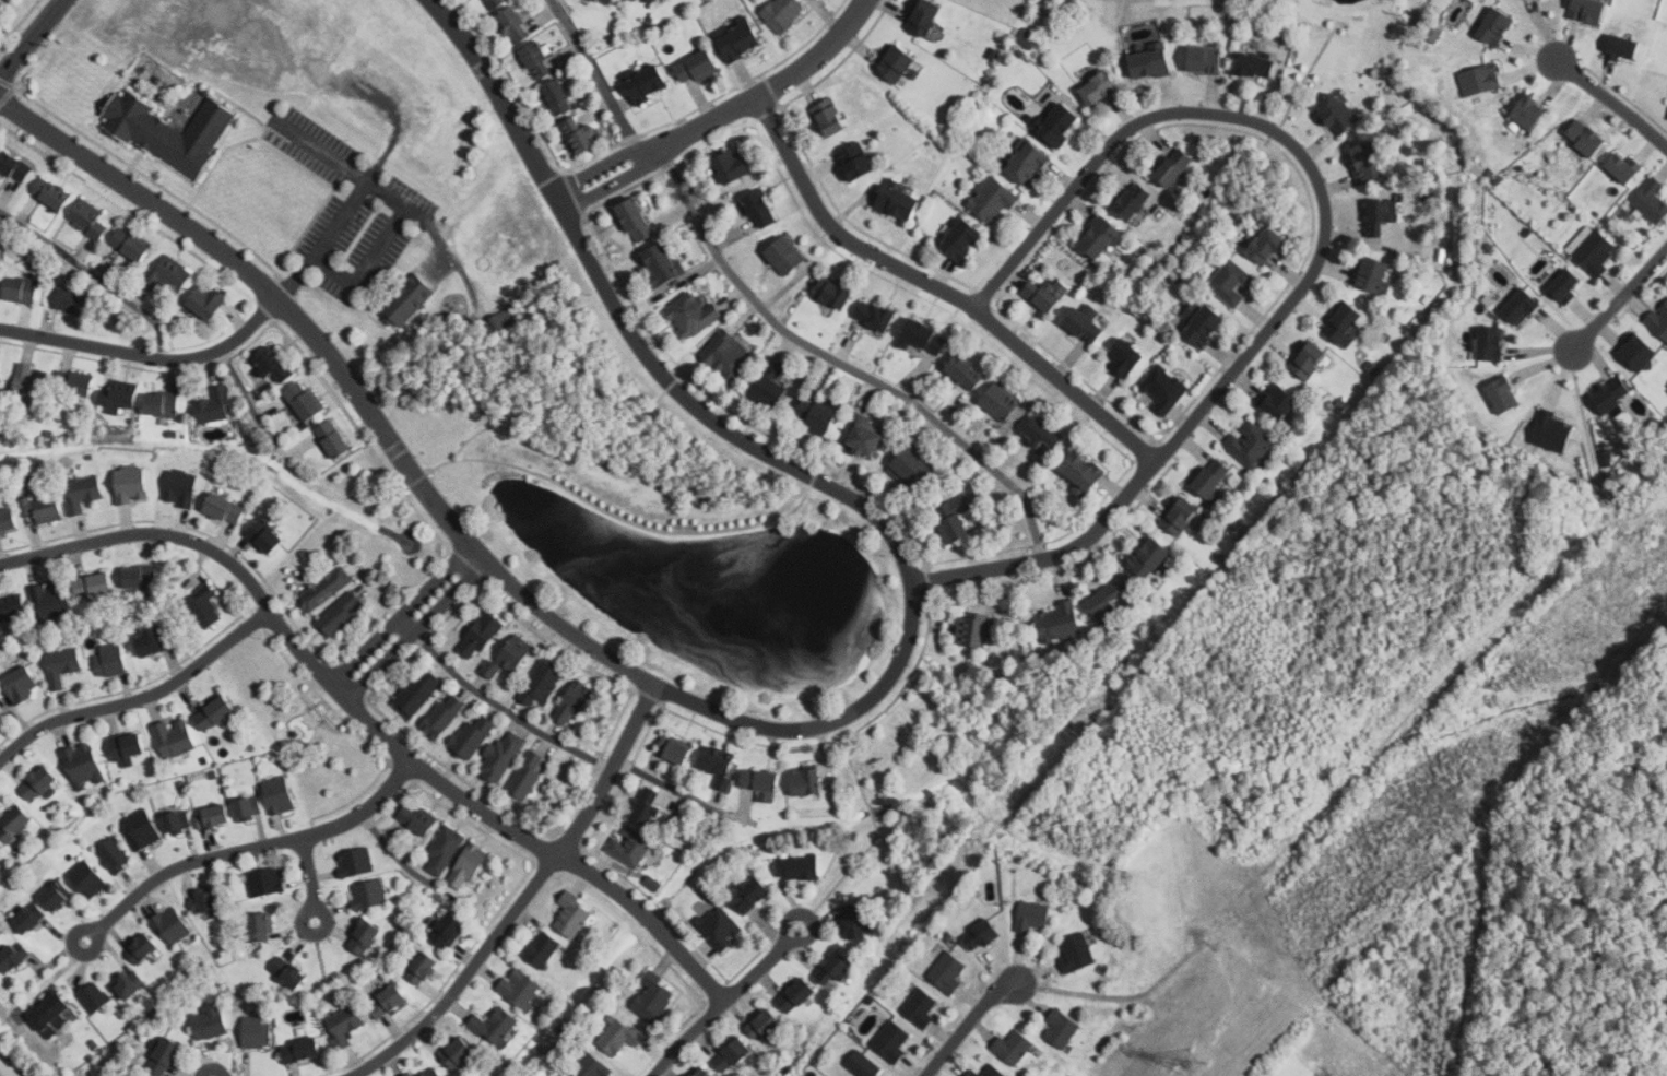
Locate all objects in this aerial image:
building: (636, 0)
building: (653, 1)
building: (605, 2)
building: (488, 3)
building: (497, 3)
building: (1589, 10)
building: (785, 12)
building: (926, 15)
building: (1497, 24)
building: (516, 25)
building: (1430, 33)
building: (740, 37)
building: (1025, 38)
road: (29, 39)
building: (1622, 46)
building: (1019, 52)
building: (990, 54)
building: (530, 59)
building: (1199, 60)
building: (541, 61)
building: (1143, 63)
building: (699, 66)
building: (890, 66)
building: (1246, 67)
road: (598, 75)
building: (1480, 78)
building: (648, 83)
building: (1101, 86)
building: (557, 97)
road: (1610, 103)
building: (1338, 111)
building: (1526, 111)
road: (721, 114)
building: (1666, 115)
building: (830, 116)
building: (1062, 122)
building: (174, 132)
building: (583, 133)
building: (1582, 137)
road: (321, 150)
building: (858, 159)
building: (1368, 161)
building: (1029, 162)
building: (734, 165)
building: (1175, 165)
building: (14, 166)
building: (1618, 166)
building: (51, 193)
building: (993, 200)
building: (1652, 200)
building: (1131, 201)
building: (888, 203)
building: (762, 208)
building: (1382, 214)
building: (87, 218)
building: (638, 218)
road: (416, 221)
road: (328, 234)
building: (1093, 238)
building: (957, 243)
building: (131, 244)
building: (1268, 245)
building: (1595, 251)
building: (785, 255)
building: (663, 263)
road: (1317, 265)
road: (365, 268)
building: (168, 273)
building: (1374, 273)
road: (94, 274)
building: (1231, 282)
building: (1560, 286)
road: (942, 288)
building: (22, 289)
building: (833, 292)
building: (1048, 293)
road: (1620, 295)
building: (405, 297)
building: (208, 299)
building: (73, 300)
building: (1517, 308)
building: (694, 314)
building: (876, 315)
building: (1659, 319)
building: (495, 322)
building: (1346, 323)
building: (1206, 324)
building: (1076, 327)
building: (922, 335)
building: (1491, 342)
road: (149, 354)
building: (728, 354)
building: (1635, 354)
building: (1125, 356)
building: (1309, 359)
road: (841, 363)
building: (275, 364)
building: (967, 370)
building: (1, 376)
building: (29, 382)
building: (74, 383)
building: (771, 383)
building: (1164, 388)
building: (1504, 394)
building: (120, 395)
building: (1612, 395)
building: (306, 399)
building: (1002, 401)
building: (1280, 402)
building: (163, 403)
building: (214, 405)
building: (817, 414)
road: (558, 416)
building: (1550, 430)
building: (1042, 431)
building: (50, 433)
building: (865, 434)
building: (334, 438)
building: (1250, 442)
road: (458, 453)
building: (911, 468)
building: (1085, 469)
building: (1214, 476)
building: (132, 484)
building: (180, 487)
building: (83, 492)
building: (48, 508)
building: (226, 508)
road: (615, 513)
building: (1181, 515)
building: (954, 518)
building: (9, 519)
building: (265, 535)
park: (672, 539)
building: (1151, 556)
building: (141, 577)
building: (94, 586)
building: (326, 588)
building: (1108, 599)
building: (51, 601)
building: (12, 607)
building: (204, 607)
road: (399, 612)
building: (340, 613)
building: (1060, 622)
building: (974, 628)
road: (414, 629)
building: (481, 635)
building: (154, 642)
building: (509, 657)
building: (110, 660)
building: (62, 665)
building: (541, 683)
building: (22, 684)
building: (417, 691)
road: (142, 698)
road: (494, 702)
building: (575, 702)
building: (215, 711)
building: (442, 714)
road: (369, 722)
road: (770, 728)
building: (473, 735)
building: (175, 737)
building: (128, 748)
building: (675, 749)
building: (501, 756)
building: (83, 764)
building: (719, 765)
building: (527, 773)
building: (806, 781)
building: (38, 782)
building: (762, 783)
road: (666, 784)
building: (280, 794)
building: (648, 806)
building: (248, 808)
building: (214, 816)
building: (418, 817)
building: (14, 821)
building: (178, 821)
building: (141, 828)
building: (630, 846)
building: (445, 848)
road: (252, 851)
building: (115, 854)
building: (355, 862)
building: (469, 866)
building: (799, 867)
building: (87, 878)
building: (267, 882)
road: (310, 882)
building: (648, 882)
building: (753, 892)
building: (368, 894)
building: (57, 895)
road: (522, 898)
building: (205, 900)
building: (1031, 915)
building: (569, 917)
building: (29, 918)
building: (856, 921)
building: (172, 925)
building: (261, 926)
building: (720, 926)
building: (447, 929)
building: (982, 935)
building: (365, 936)
building: (142, 947)
building: (543, 949)
building: (1076, 950)
building: (13, 956)
road: (760, 963)
building: (423, 967)
building: (838, 967)
building: (948, 971)
building: (289, 972)
building: (128, 983)
building: (520, 986)
building: (93, 995)
building: (796, 995)
building: (653, 997)
building: (389, 1002)
building: (54, 1006)
building: (921, 1007)
building: (210, 1020)
building: (345, 1025)
road: (967, 1025)
building: (495, 1026)
building: (767, 1026)
building: (1062, 1027)
building: (258, 1031)
building: (619, 1034)
road: (687, 1039)
building: (891, 1041)
building: (1014, 1047)
building: (303, 1049)
building: (458, 1052)
building: (166, 1055)
building: (733, 1055)
building: (864, 1064)
power tower: (1192, 1065)
building: (592, 1066)
building: (433, 1072)
building: (697, 1072)
building: (706, 1072)
building: (989, 1072)
park: (1, 1074)
building: (404, 1074)
building: (410, 1074)

